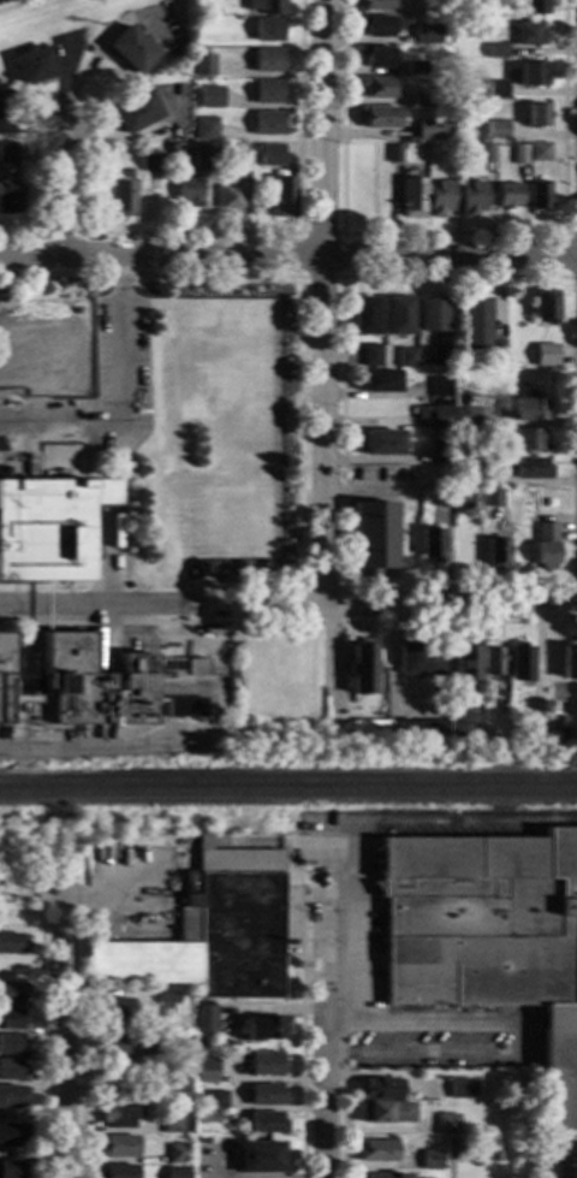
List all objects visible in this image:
road: (19, 5)
building: (379, 5)
building: (267, 6)
building: (427, 7)
building: (536, 7)
building: (213, 11)
building: (446, 11)
building: (380, 25)
building: (269, 29)
building: (429, 34)
building: (531, 34)
road: (103, 41)
building: (132, 49)
building: (499, 51)
building: (380, 57)
building: (269, 60)
building: (35, 65)
building: (206, 66)
building: (418, 67)
building: (533, 73)
building: (380, 88)
building: (499, 89)
building: (269, 91)
building: (212, 97)
building: (423, 101)
building: (136, 112)
building: (6, 113)
building: (540, 114)
building: (381, 117)
building: (269, 124)
building: (207, 129)
building: (499, 130)
building: (434, 131)
building: (257, 148)
building: (100, 149)
building: (172, 150)
building: (8, 152)
building: (541, 152)
building: (397, 153)
building: (488, 153)
building: (522, 154)
building: (239, 155)
building: (273, 155)
building: (208, 158)
building: (153, 164)
road: (65, 193)
building: (191, 193)
building: (10, 194)
building: (510, 195)
building: (231, 196)
building: (541, 196)
building: (100, 197)
building: (285, 197)
building: (415, 199)
building: (440, 199)
building: (474, 199)
building: (125, 200)
road: (302, 225)
road: (64, 235)
road: (345, 235)
road: (456, 235)
road: (22, 236)
road: (569, 253)
road: (287, 255)
road: (123, 273)
building: (548, 306)
building: (195, 310)
building: (263, 310)
building: (400, 315)
building: (434, 315)
building: (367, 316)
building: (477, 324)
road: (303, 330)
parking lot: (121, 345)
road: (260, 350)
building: (374, 355)
building: (547, 355)
road: (326, 356)
building: (410, 357)
building: (442, 357)
building: (428, 361)
building: (216, 366)
building: (263, 375)
building: (383, 381)
building: (441, 386)
building: (530, 409)
building: (439, 415)
building: (470, 416)
road: (123, 420)
building: (264, 424)
road: (345, 428)
building: (471, 439)
building: (531, 439)
building: (385, 443)
building: (445, 451)
building: (533, 468)
building: (469, 473)
building: (445, 497)
building: (494, 497)
building: (468, 501)
building: (49, 528)
building: (202, 531)
building: (375, 535)
building: (285, 537)
building: (548, 541)
building: (119, 544)
building: (433, 544)
building: (244, 549)
building: (499, 554)
road: (102, 555)
road: (571, 585)
road: (308, 586)
road: (94, 605)
road: (382, 605)
road: (157, 623)
road: (460, 623)
building: (420, 659)
building: (494, 662)
building: (521, 663)
building: (570, 663)
building: (466, 664)
building: (196, 667)
building: (363, 669)
building: (5, 677)
building: (95, 683)
building: (502, 704)
building: (184, 708)
building: (463, 726)
building: (536, 726)
building: (559, 726)
building: (400, 728)
road: (154, 745)
railway: (288, 781)
railway: (288, 793)
road: (115, 889)
building: (210, 931)
building: (489, 936)
building: (11, 943)
building: (11, 993)
building: (166, 994)
building: (112, 1007)
road: (325, 1011)
building: (204, 1018)
building: (10, 1019)
road: (451, 1023)
road: (301, 1028)
road: (61, 1029)
building: (266, 1029)
road: (499, 1030)
road: (38, 1031)
road: (79, 1038)
building: (11, 1043)
building: (126, 1046)
road: (434, 1053)
building: (261, 1064)
building: (11, 1070)
building: (204, 1070)
building: (178, 1079)
building: (459, 1088)
building: (381, 1089)
building: (264, 1095)
building: (11, 1096)
building: (214, 1099)
road: (343, 1100)
building: (386, 1112)
building: (114, 1117)
building: (206, 1117)
building: (264, 1123)
building: (172, 1124)
building: (446, 1124)
building: (11, 1135)
building: (201, 1141)
building: (117, 1146)
building: (451, 1149)
building: (377, 1150)
building: (176, 1153)
building: (258, 1158)
building: (430, 1159)
road: (561, 1159)
building: (10, 1170)
building: (117, 1171)
building: (571, 1171)
building: (176, 1172)
building: (386, 1176)

